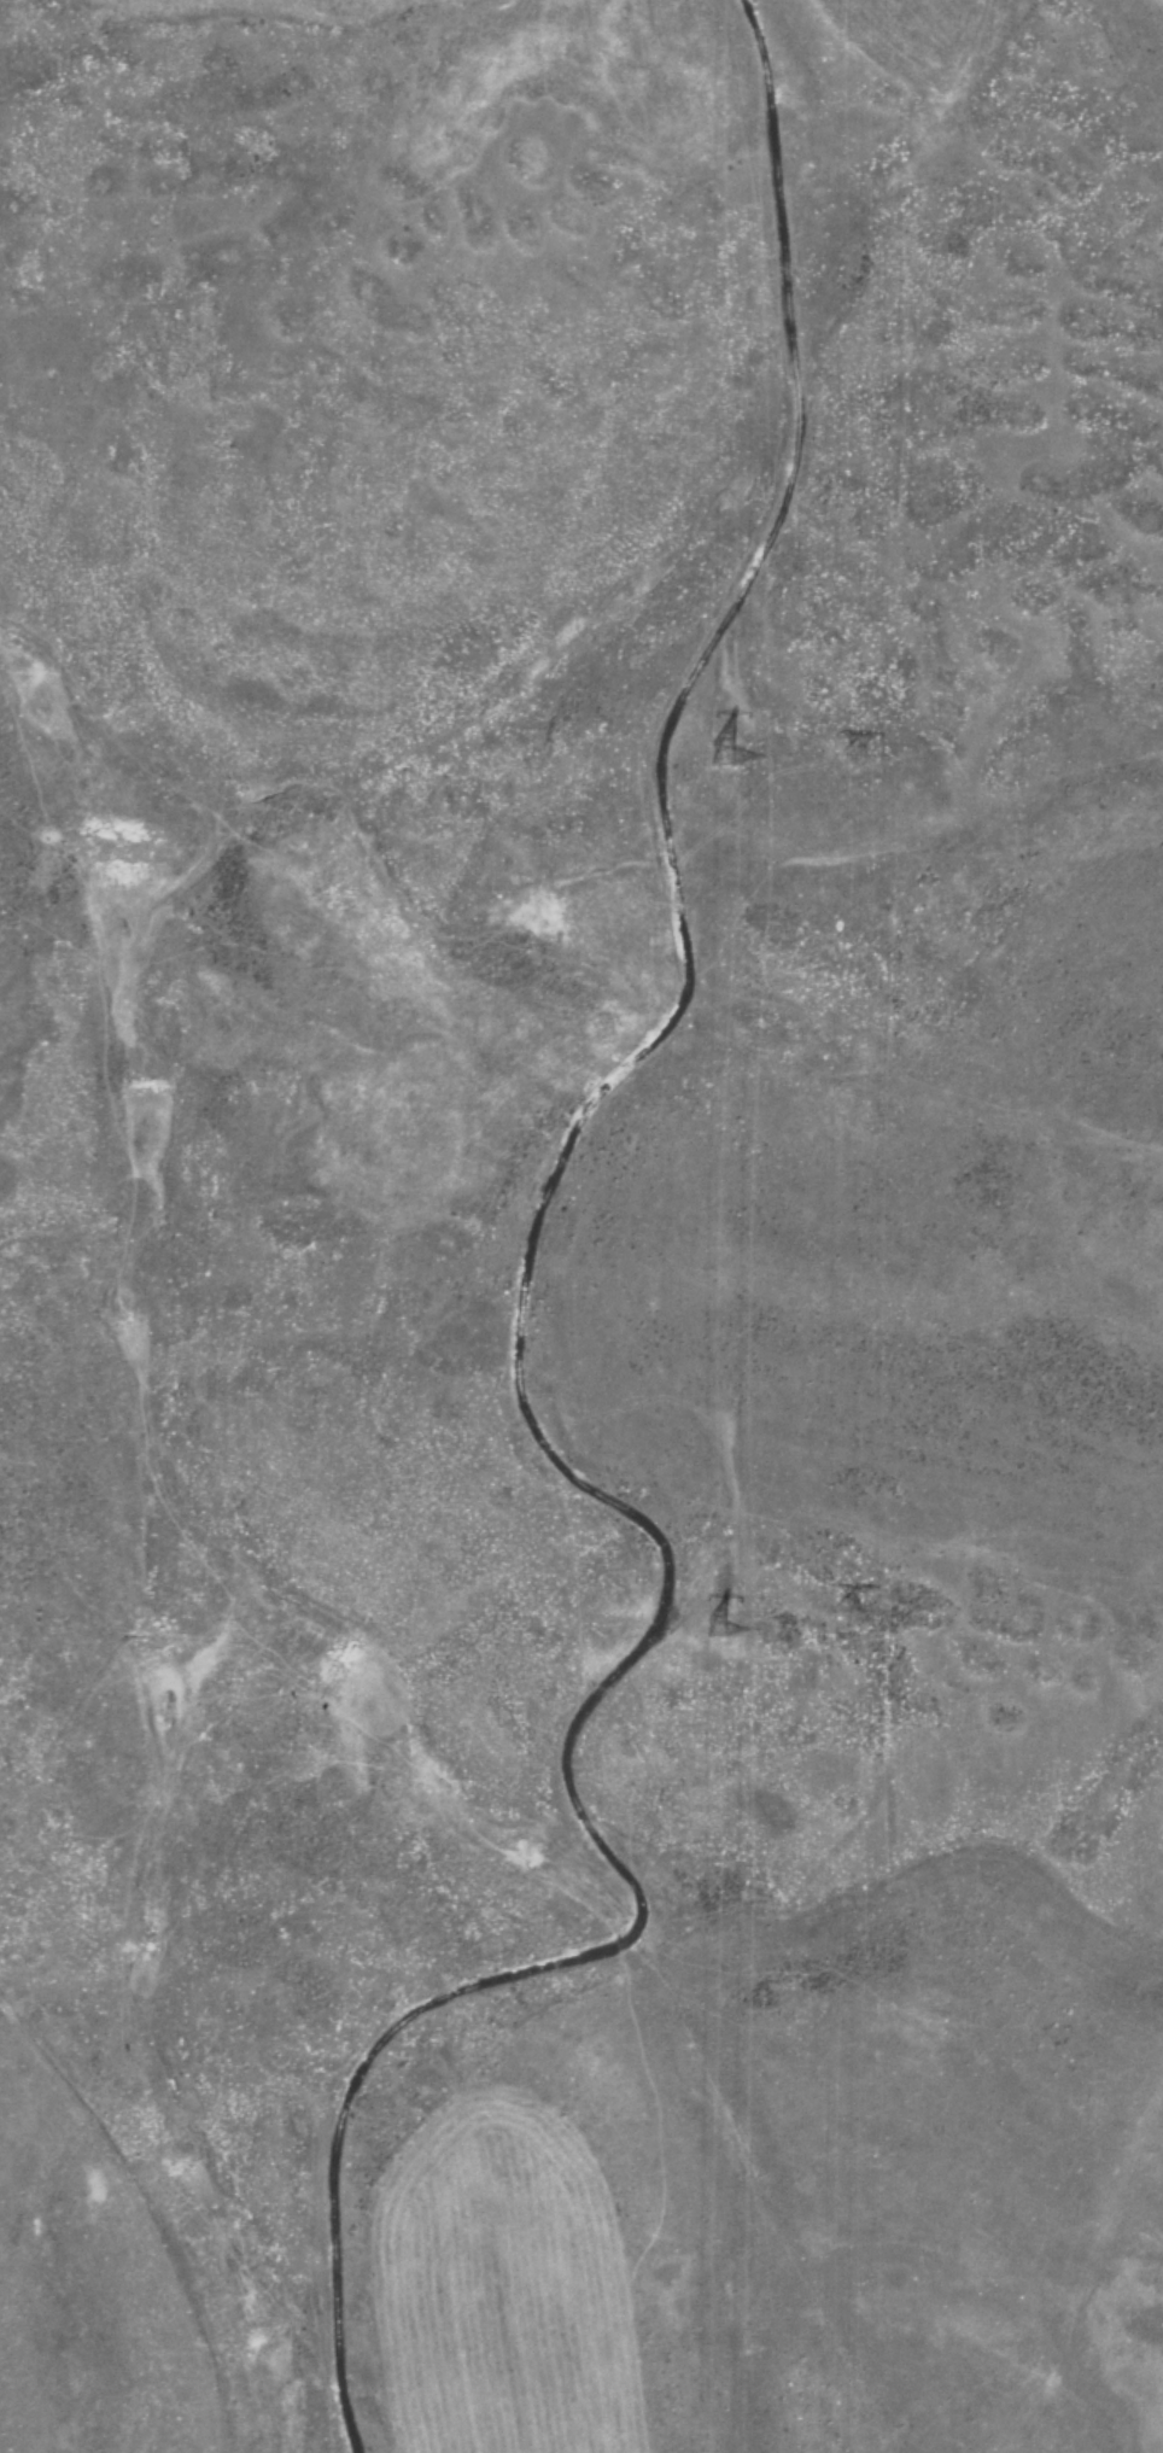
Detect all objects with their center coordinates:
power tower: (742, 748)
power tower: (860, 771)
power tower: (750, 1612)
power tower: (859, 1614)

